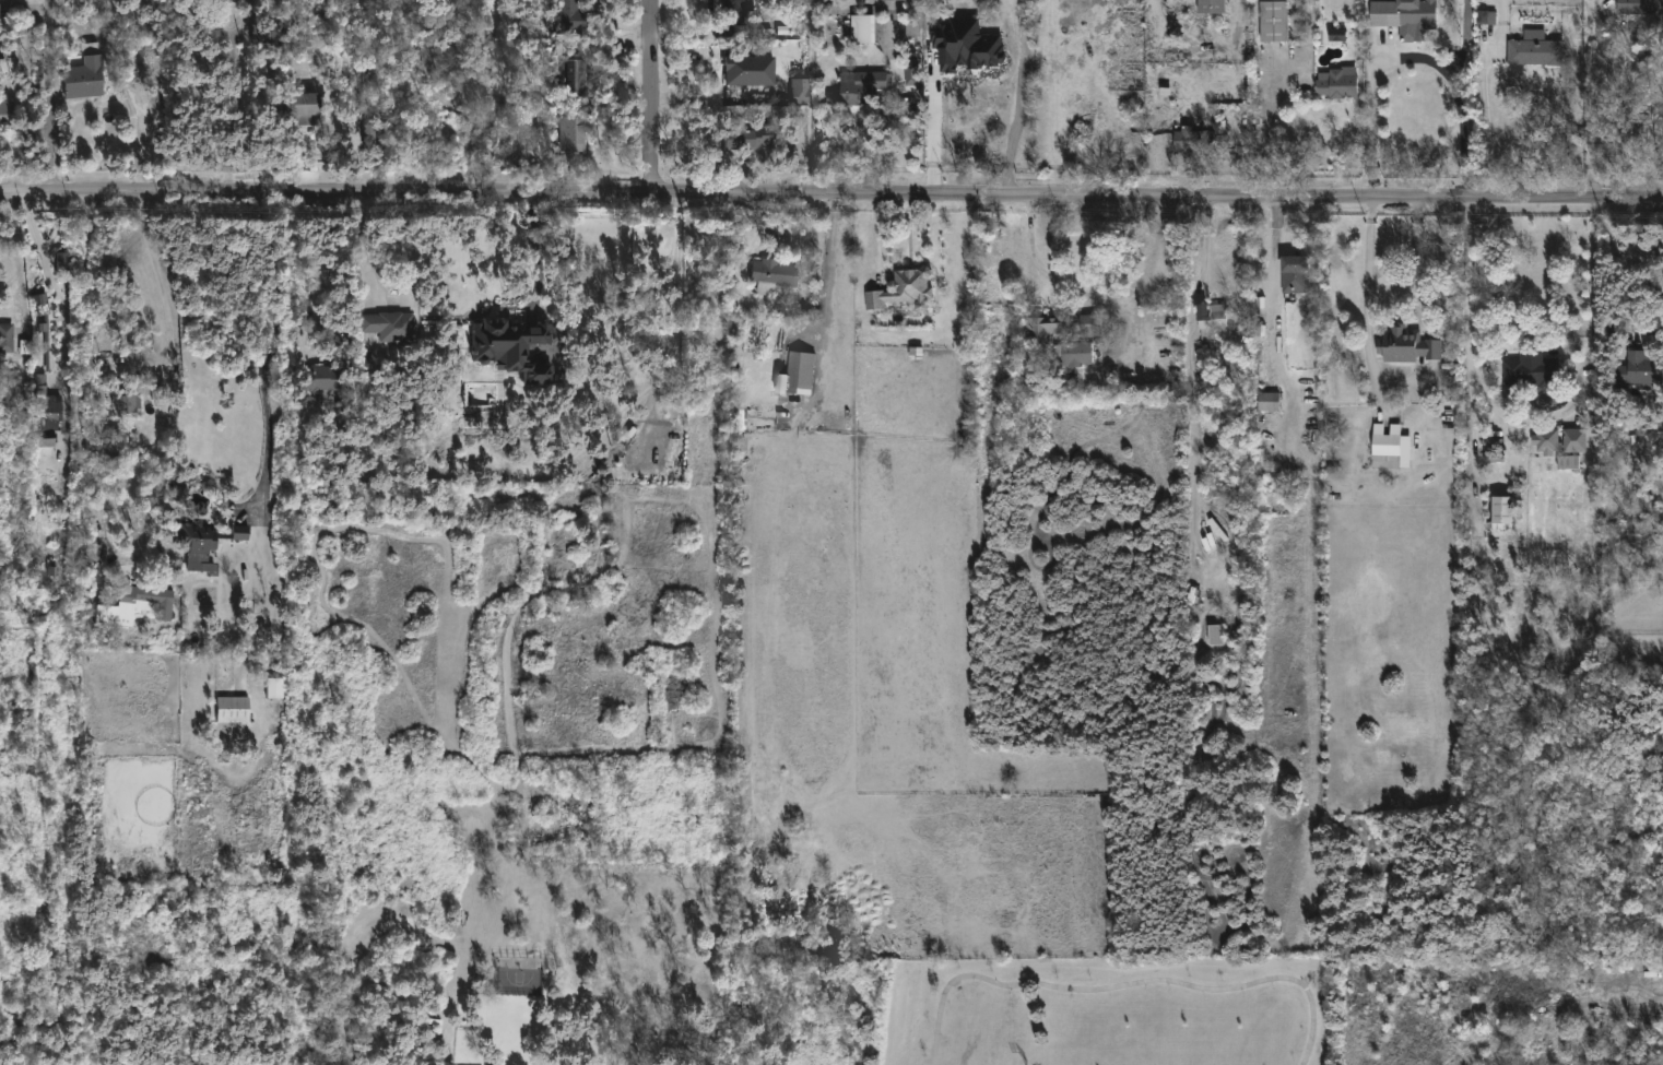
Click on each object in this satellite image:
building: (892, 0)
building: (228, 1)
building: (768, 1)
building: (1211, 7)
building: (1640, 7)
building: (732, 11)
building: (1, 12)
building: (565, 15)
building: (1405, 16)
building: (1273, 21)
building: (911, 29)
building: (861, 31)
building: (271, 34)
building: (1337, 35)
building: (1534, 50)
building: (744, 69)
building: (87, 72)
building: (950, 72)
building: (911, 74)
building: (571, 79)
building: (1337, 83)
road: (488, 84)
building: (799, 85)
building: (858, 90)
road: (54, 96)
road: (654, 96)
road: (1485, 96)
road: (1019, 97)
road: (1603, 98)
road: (1460, 104)
building: (310, 106)
building: (8, 115)
road: (932, 126)
building: (569, 134)
building: (745, 137)
building: (1192, 141)
road: (831, 193)
road: (47, 249)
road: (1204, 252)
road: (1417, 258)
building: (62, 267)
building: (771, 274)
road: (380, 275)
building: (1294, 275)
road: (163, 285)
building: (903, 289)
building: (39, 299)
road: (1368, 299)
road: (1096, 301)
road: (677, 307)
road: (63, 310)
building: (1210, 319)
building: (387, 324)
building: (1063, 335)
building: (8, 338)
building: (1405, 345)
building: (512, 347)
road: (264, 350)
building: (1640, 369)
building: (1531, 371)
building: (794, 374)
building: (315, 378)
building: (1267, 401)
building: (128, 405)
building: (49, 414)
road: (1528, 417)
building: (1573, 440)
building: (1546, 441)
building: (1390, 447)
road: (1475, 468)
building: (180, 495)
building: (1501, 512)
building: (240, 532)
building: (203, 547)
building: (93, 551)
building: (139, 604)
building: (1215, 636)
building: (274, 688)
building: (236, 709)
road: (1125, 986)
park: (1106, 1014)

